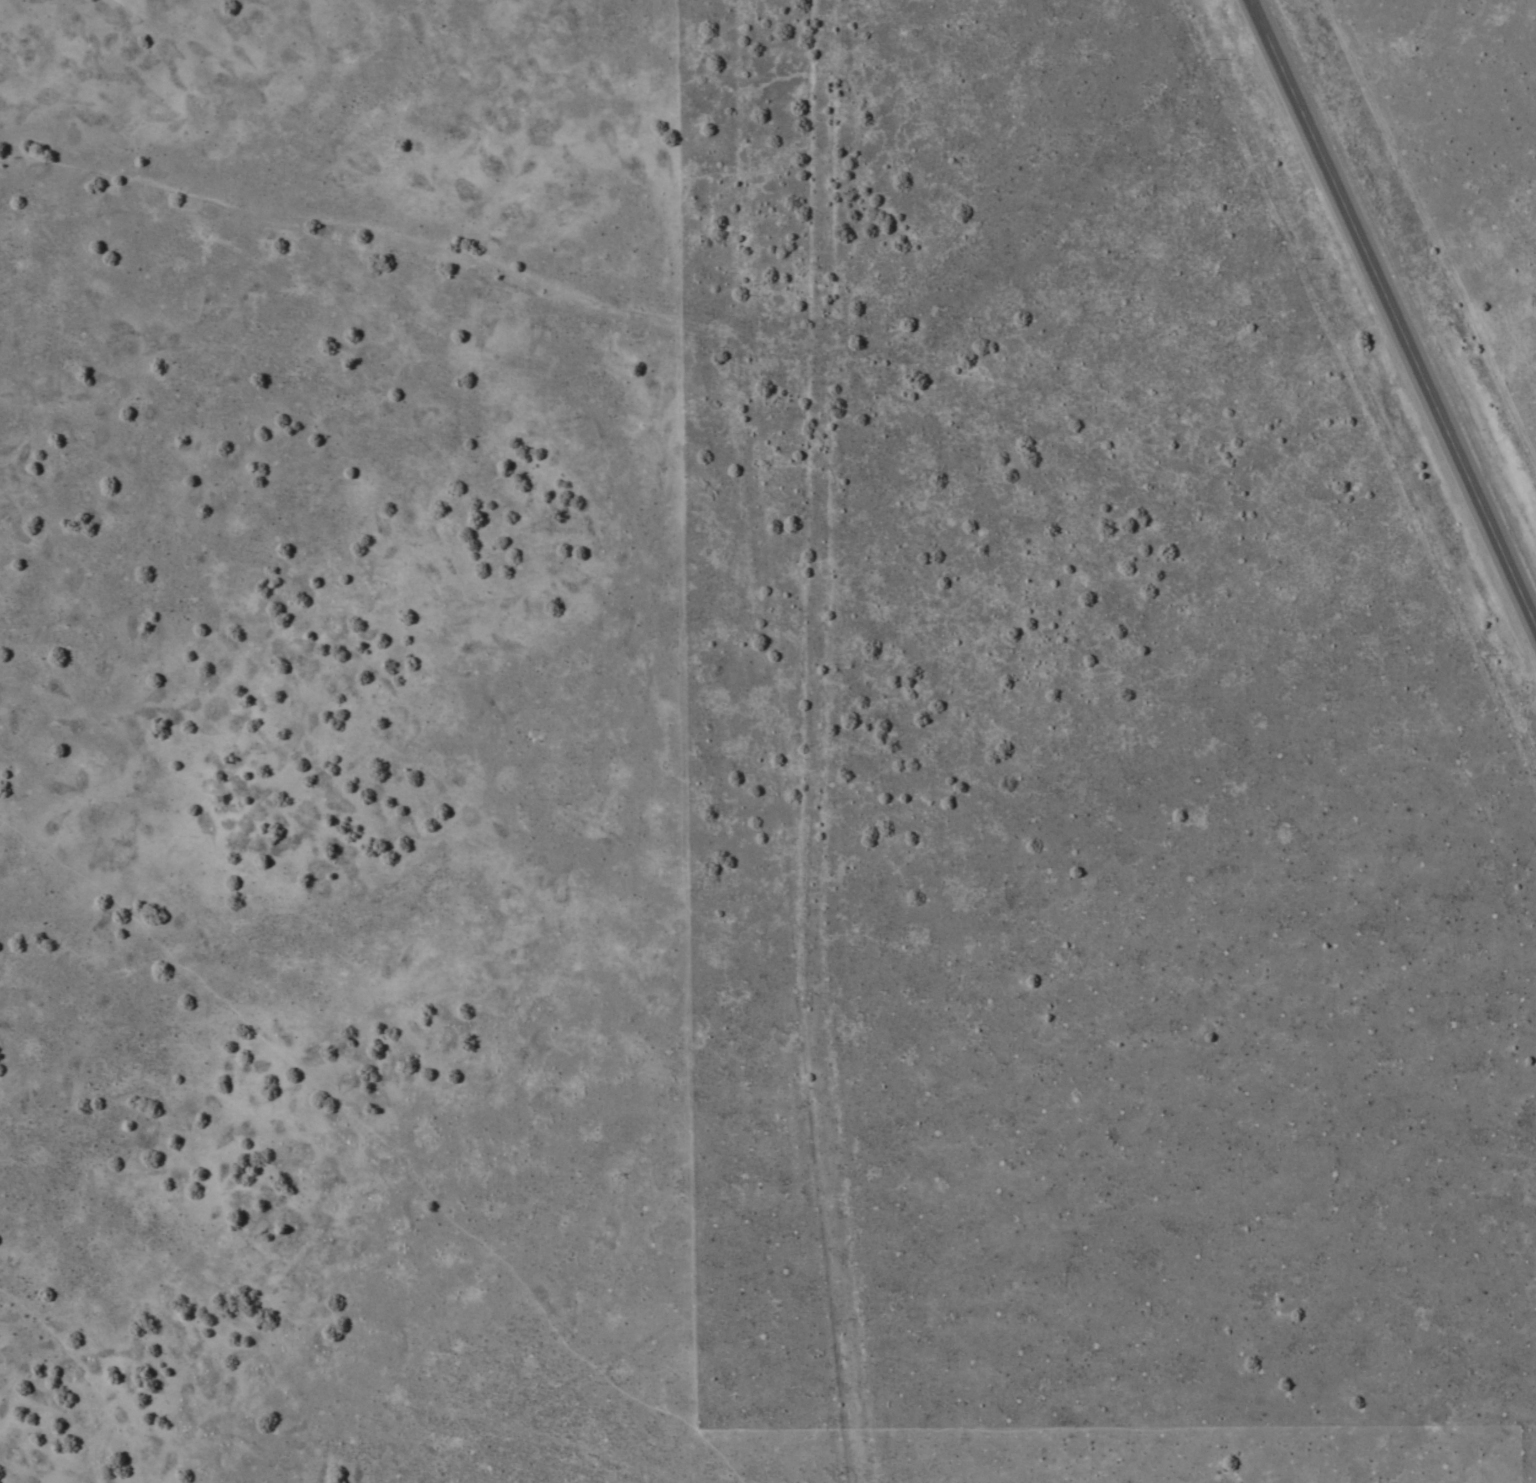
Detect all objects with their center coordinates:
road: (1390, 318)

